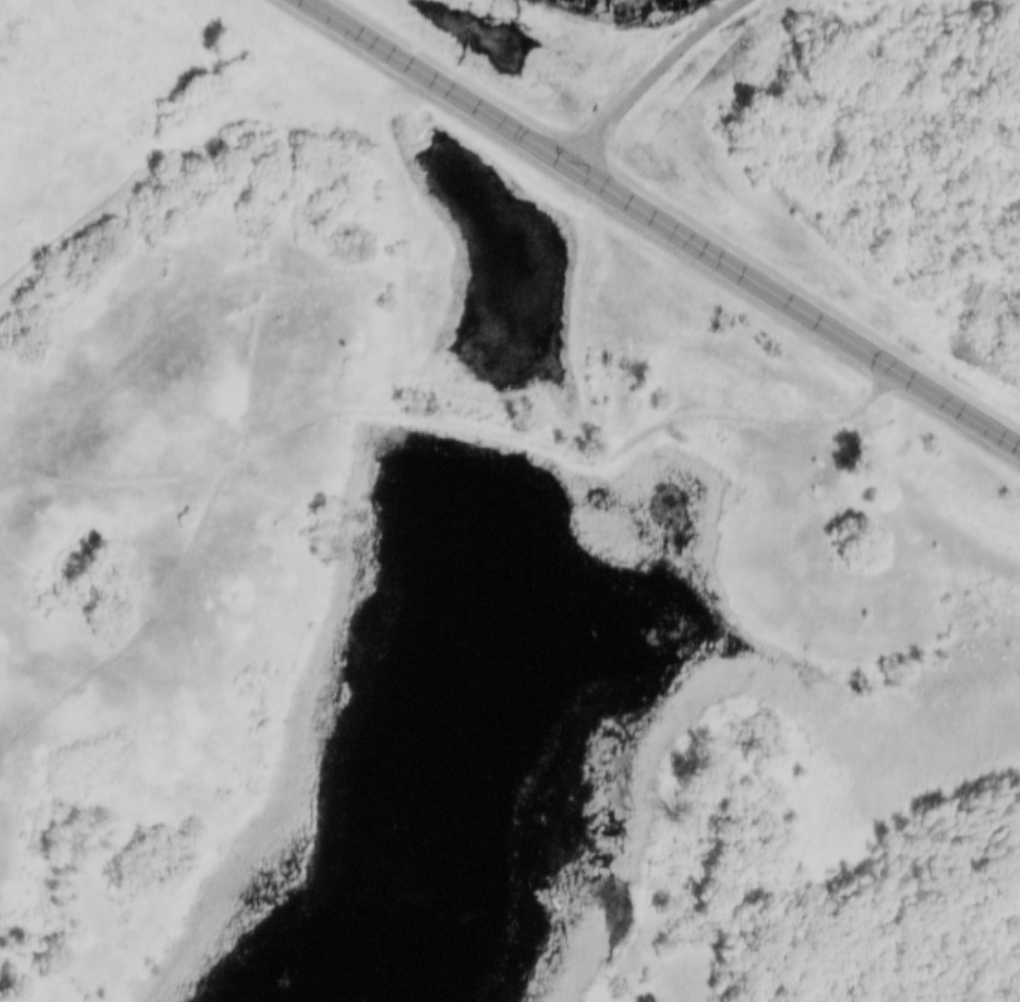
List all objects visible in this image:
road: (647, 74)
road: (665, 217)
road: (390, 408)

